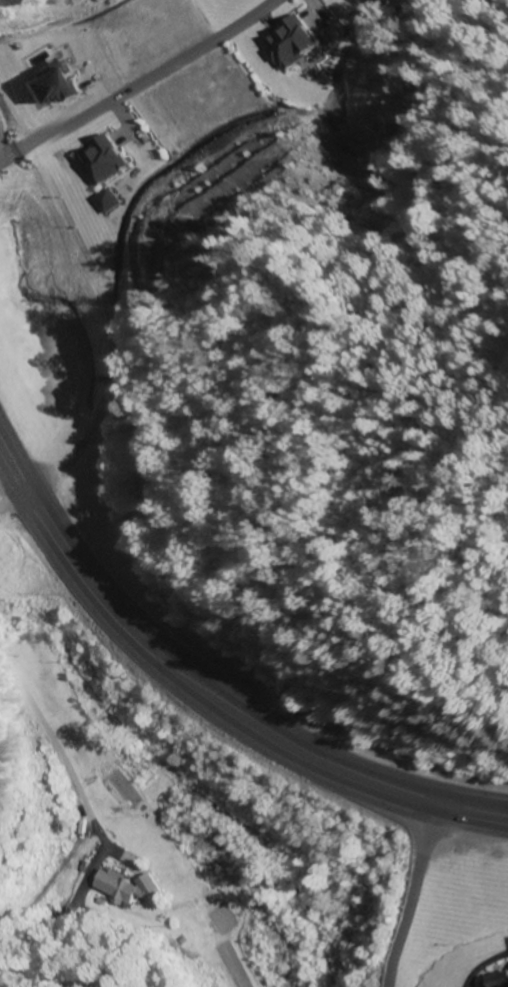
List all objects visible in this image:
road: (154, 75)
road: (15, 157)
building: (98, 161)
road: (13, 499)
road: (205, 699)
road: (69, 783)
building: (112, 886)
road: (413, 898)
building: (500, 980)

